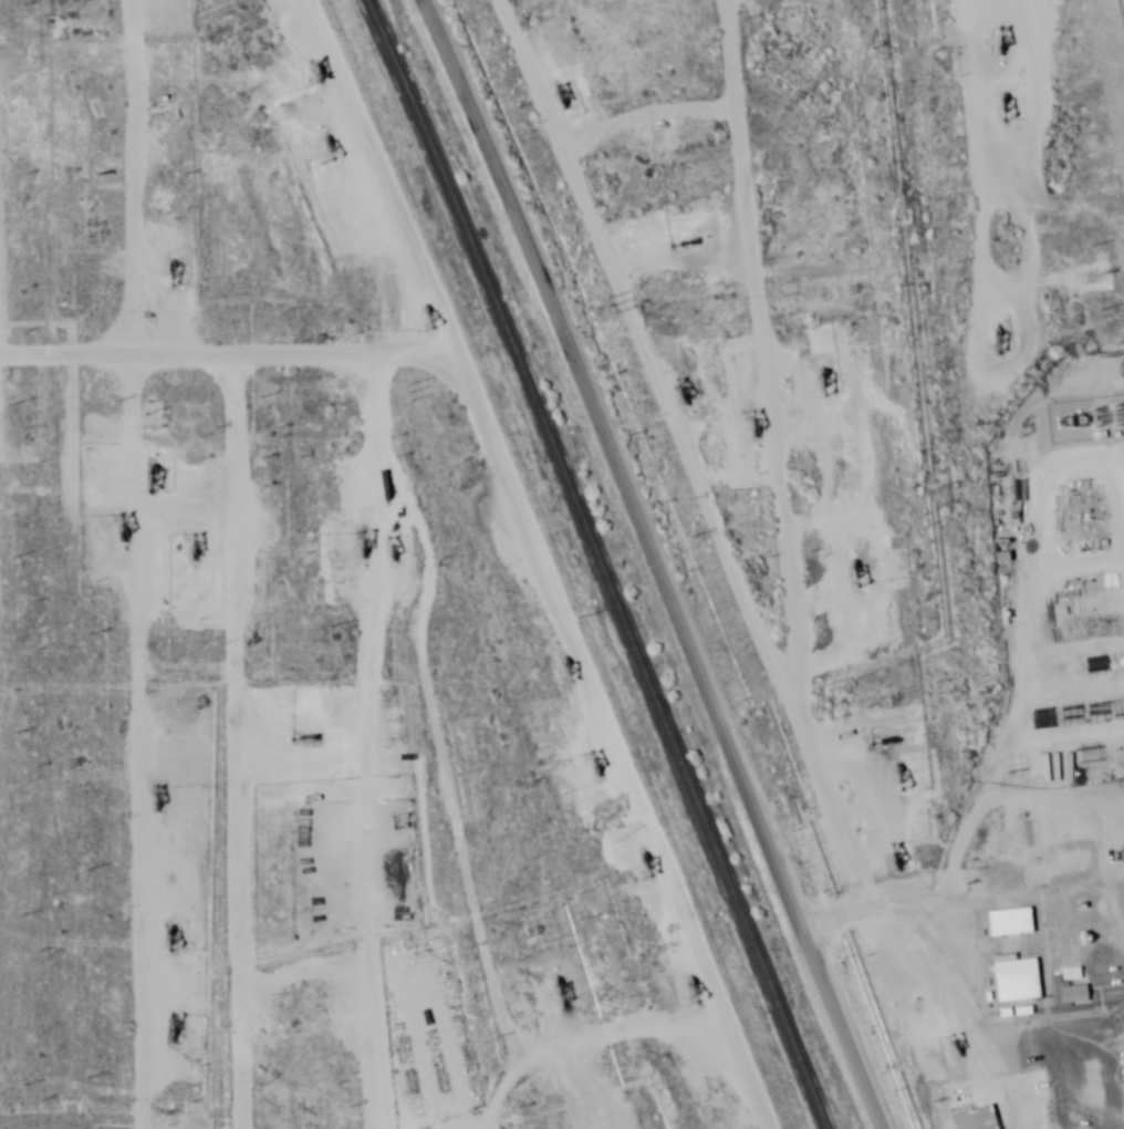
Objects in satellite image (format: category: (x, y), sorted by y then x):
road: (635, 269)
road: (1051, 405)
building: (1099, 521)
building: (1000, 551)
road: (331, 558)
railway: (594, 562)
road: (83, 564)
road: (649, 564)
road: (417, 602)
road: (202, 762)
building: (1093, 762)
building: (1065, 768)
road: (1061, 796)
building: (1068, 861)
building: (1000, 873)
road: (899, 892)
road: (836, 916)
building: (1008, 922)
building: (1100, 929)
building: (1013, 978)
building: (974, 1119)

